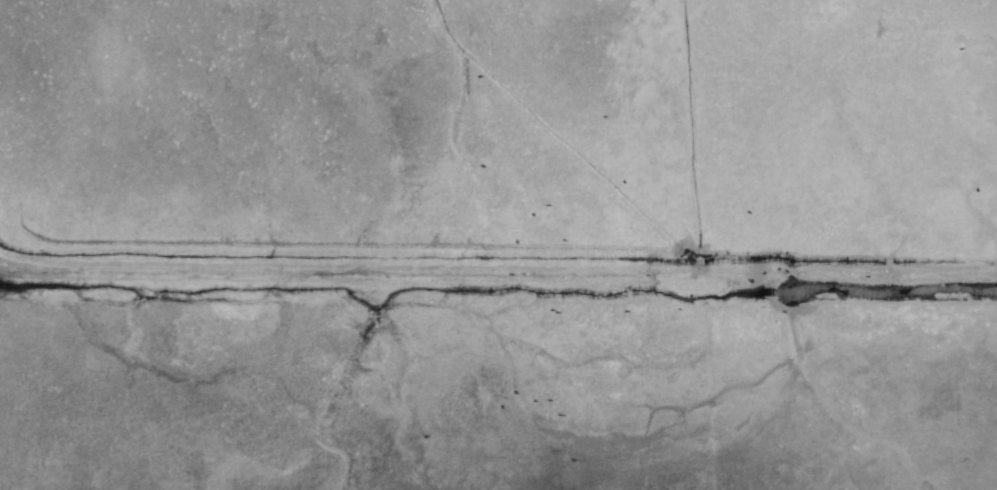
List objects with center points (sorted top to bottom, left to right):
crop: (498, 245)

